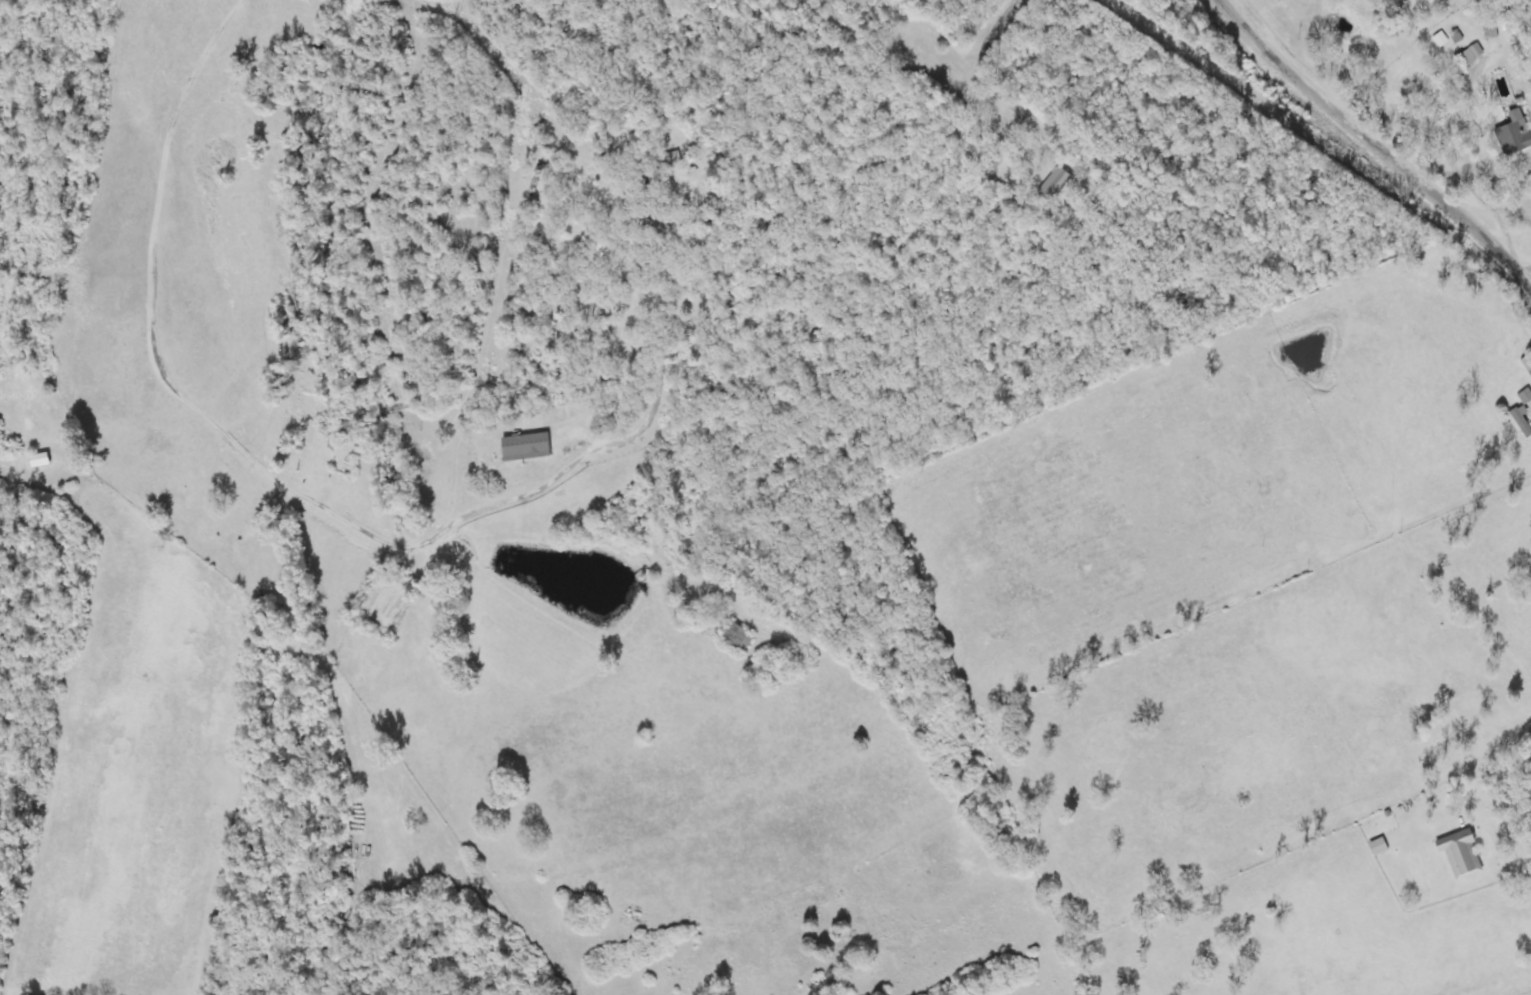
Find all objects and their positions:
building: (310, 0)
building: (1490, 33)
building: (1440, 39)
building: (1472, 55)
building: (1514, 135)
road: (1372, 155)
building: (1054, 186)
building: (1525, 397)
building: (1522, 423)
building: (525, 448)
building: (38, 461)
building: (1378, 848)
building: (1460, 853)

